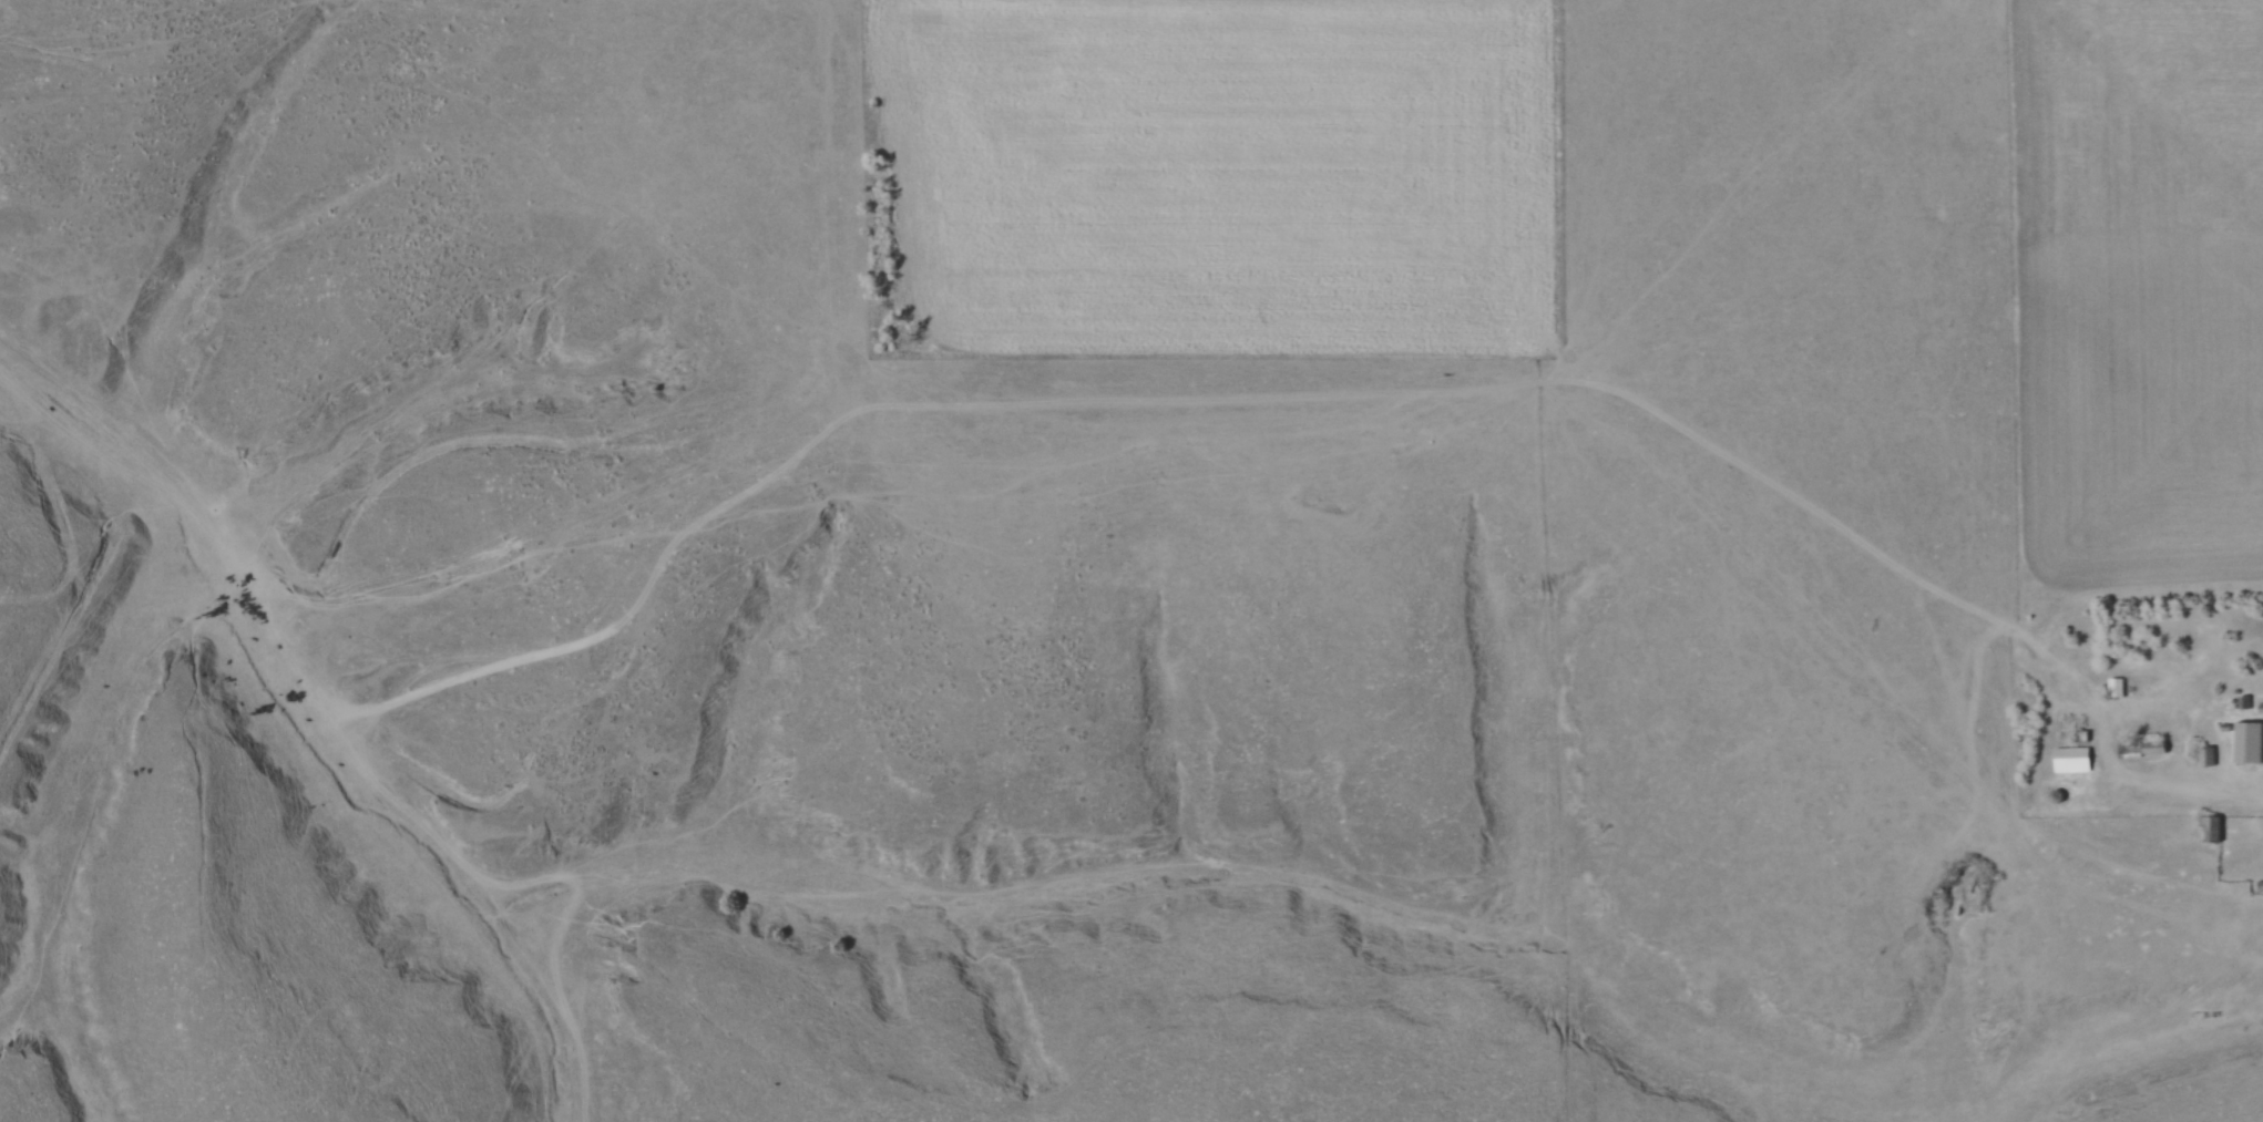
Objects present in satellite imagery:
building: (2249, 741)
building: (2142, 748)
building: (2071, 759)
building: (2212, 827)

